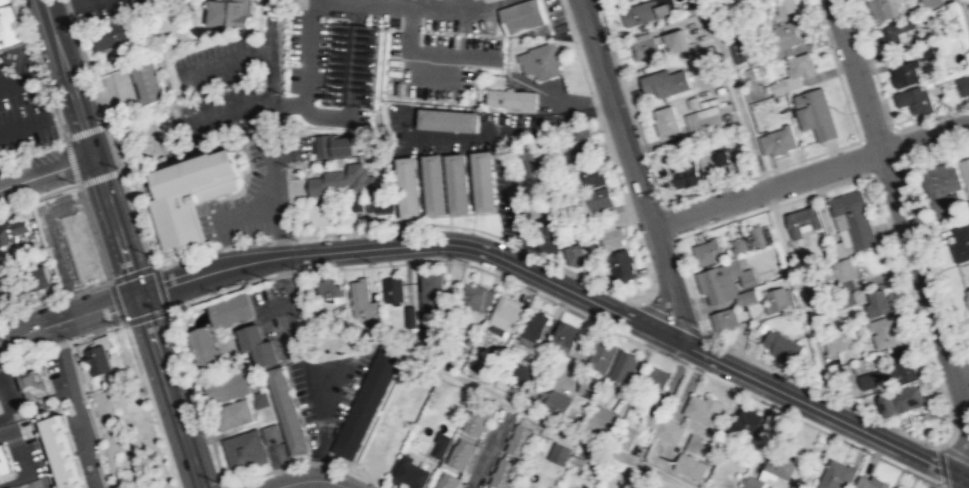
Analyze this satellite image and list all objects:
building: (930, 2)
road: (598, 4)
road: (612, 4)
road: (408, 5)
road: (484, 5)
building: (784, 6)
road: (67, 7)
parking lot: (103, 7)
building: (693, 8)
building: (879, 9)
building: (639, 12)
parking lot: (553, 13)
building: (226, 14)
road: (544, 14)
building: (520, 15)
road: (963, 15)
road: (566, 19)
building: (760, 21)
building: (10, 25)
road: (558, 30)
building: (893, 31)
building: (112, 34)
building: (781, 38)
street lamp: (607, 39)
building: (673, 39)
street lamp: (832, 46)
building: (644, 48)
building: (738, 49)
building: (925, 53)
road: (426, 54)
road: (225, 58)
building: (539, 60)
parking lot: (444, 62)
building: (800, 64)
road: (871, 64)
building: (353, 65)
road: (581, 66)
road: (308, 68)
road: (836, 70)
building: (903, 73)
building: (144, 81)
building: (664, 82)
road: (15, 83)
building: (962, 85)
building: (778, 87)
parking lot: (216, 90)
building: (511, 98)
building: (914, 100)
parking lot: (22, 102)
road: (594, 105)
road: (233, 106)
road: (630, 106)
building: (815, 114)
road: (931, 116)
building: (445, 119)
building: (665, 121)
building: (701, 122)
road: (23, 124)
road: (85, 132)
road: (108, 133)
road: (876, 134)
building: (578, 136)
building: (777, 140)
building: (333, 144)
road: (898, 145)
road: (277, 149)
road: (32, 150)
road: (936, 152)
road: (864, 156)
building: (723, 158)
road: (71, 160)
building: (530, 160)
street lamp: (117, 166)
road: (632, 167)
road: (886, 168)
road: (46, 171)
building: (964, 171)
road: (761, 172)
building: (685, 173)
road: (809, 173)
building: (593, 174)
road: (99, 177)
building: (342, 179)
building: (481, 180)
street lamp: (875, 181)
building: (455, 182)
building: (431, 183)
road: (240, 186)
building: (406, 186)
building: (940, 187)
road: (470, 191)
building: (183, 194)
road: (39, 195)
road: (422, 198)
building: (600, 198)
street lamp: (658, 200)
building: (382, 201)
road: (772, 206)
road: (773, 209)
road: (627, 210)
parking lot: (235, 212)
road: (484, 212)
building: (319, 213)
road: (225, 214)
road: (448, 214)
road: (460, 214)
road: (902, 215)
building: (853, 217)
road: (449, 220)
road: (669, 220)
building: (801, 220)
building: (12, 229)
road: (359, 230)
building: (545, 234)
building: (756, 235)
road: (300, 236)
building: (613, 237)
street lamp: (296, 240)
road: (120, 243)
building: (959, 243)
building: (738, 245)
building: (706, 251)
street lamp: (145, 252)
building: (574, 255)
road: (501, 258)
road: (546, 258)
street lamp: (468, 260)
road: (935, 261)
street lamp: (374, 262)
building: (621, 264)
building: (837, 269)
road: (131, 272)
road: (289, 273)
building: (32, 280)
building: (716, 283)
road: (689, 286)
road: (161, 287)
building: (330, 287)
building: (393, 289)
building: (1, 292)
road: (219, 292)
building: (967, 294)
building: (474, 295)
building: (745, 296)
road: (54, 298)
building: (362, 298)
road: (290, 300)
road: (640, 300)
building: (775, 300)
building: (839, 300)
road: (115, 301)
building: (877, 303)
street lamp: (915, 305)
building: (432, 307)
building: (230, 309)
building: (509, 309)
road: (914, 312)
building: (408, 316)
road: (145, 317)
road: (669, 318)
building: (723, 318)
building: (534, 325)
street lamp: (127, 327)
road: (702, 331)
building: (885, 331)
street lamp: (627, 334)
building: (564, 336)
street lamp: (71, 338)
building: (836, 340)
road: (633, 341)
road: (61, 344)
building: (256, 344)
building: (781, 346)
building: (203, 348)
building: (601, 355)
building: (101, 359)
road: (968, 359)
road: (968, 361)
street lamp: (686, 363)
building: (623, 366)
building: (890, 370)
road: (77, 372)
parking lot: (56, 374)
building: (655, 376)
road: (962, 379)
building: (31, 385)
building: (589, 385)
building: (224, 387)
road: (821, 391)
road: (489, 392)
building: (906, 397)
building: (259, 400)
building: (366, 402)
road: (77, 404)
building: (887, 404)
road: (151, 405)
building: (556, 405)
street lamp: (778, 406)
road: (75, 407)
road: (4, 408)
building: (702, 409)
building: (284, 410)
building: (232, 414)
building: (607, 419)
building: (475, 420)
street lamp: (952, 421)
building: (744, 423)
building: (668, 430)
building: (270, 433)
road: (6, 434)
building: (519, 441)
building: (439, 444)
parking lot: (24, 450)
building: (243, 450)
street lamp: (869, 450)
building: (68, 452)
road: (954, 452)
building: (459, 453)
building: (558, 453)
road: (19, 455)
street lamp: (316, 455)
building: (4, 461)
building: (779, 465)
building: (689, 466)
road: (941, 466)
building: (410, 472)
building: (502, 474)
building: (836, 475)
road: (310, 479)
road: (968, 479)
building: (445, 480)
road: (13, 481)
road: (222, 481)
building: (752, 482)
building: (870, 482)
parking lot: (38, 483)
road: (224, 486)
building: (11, 487)
building: (896, 487)

